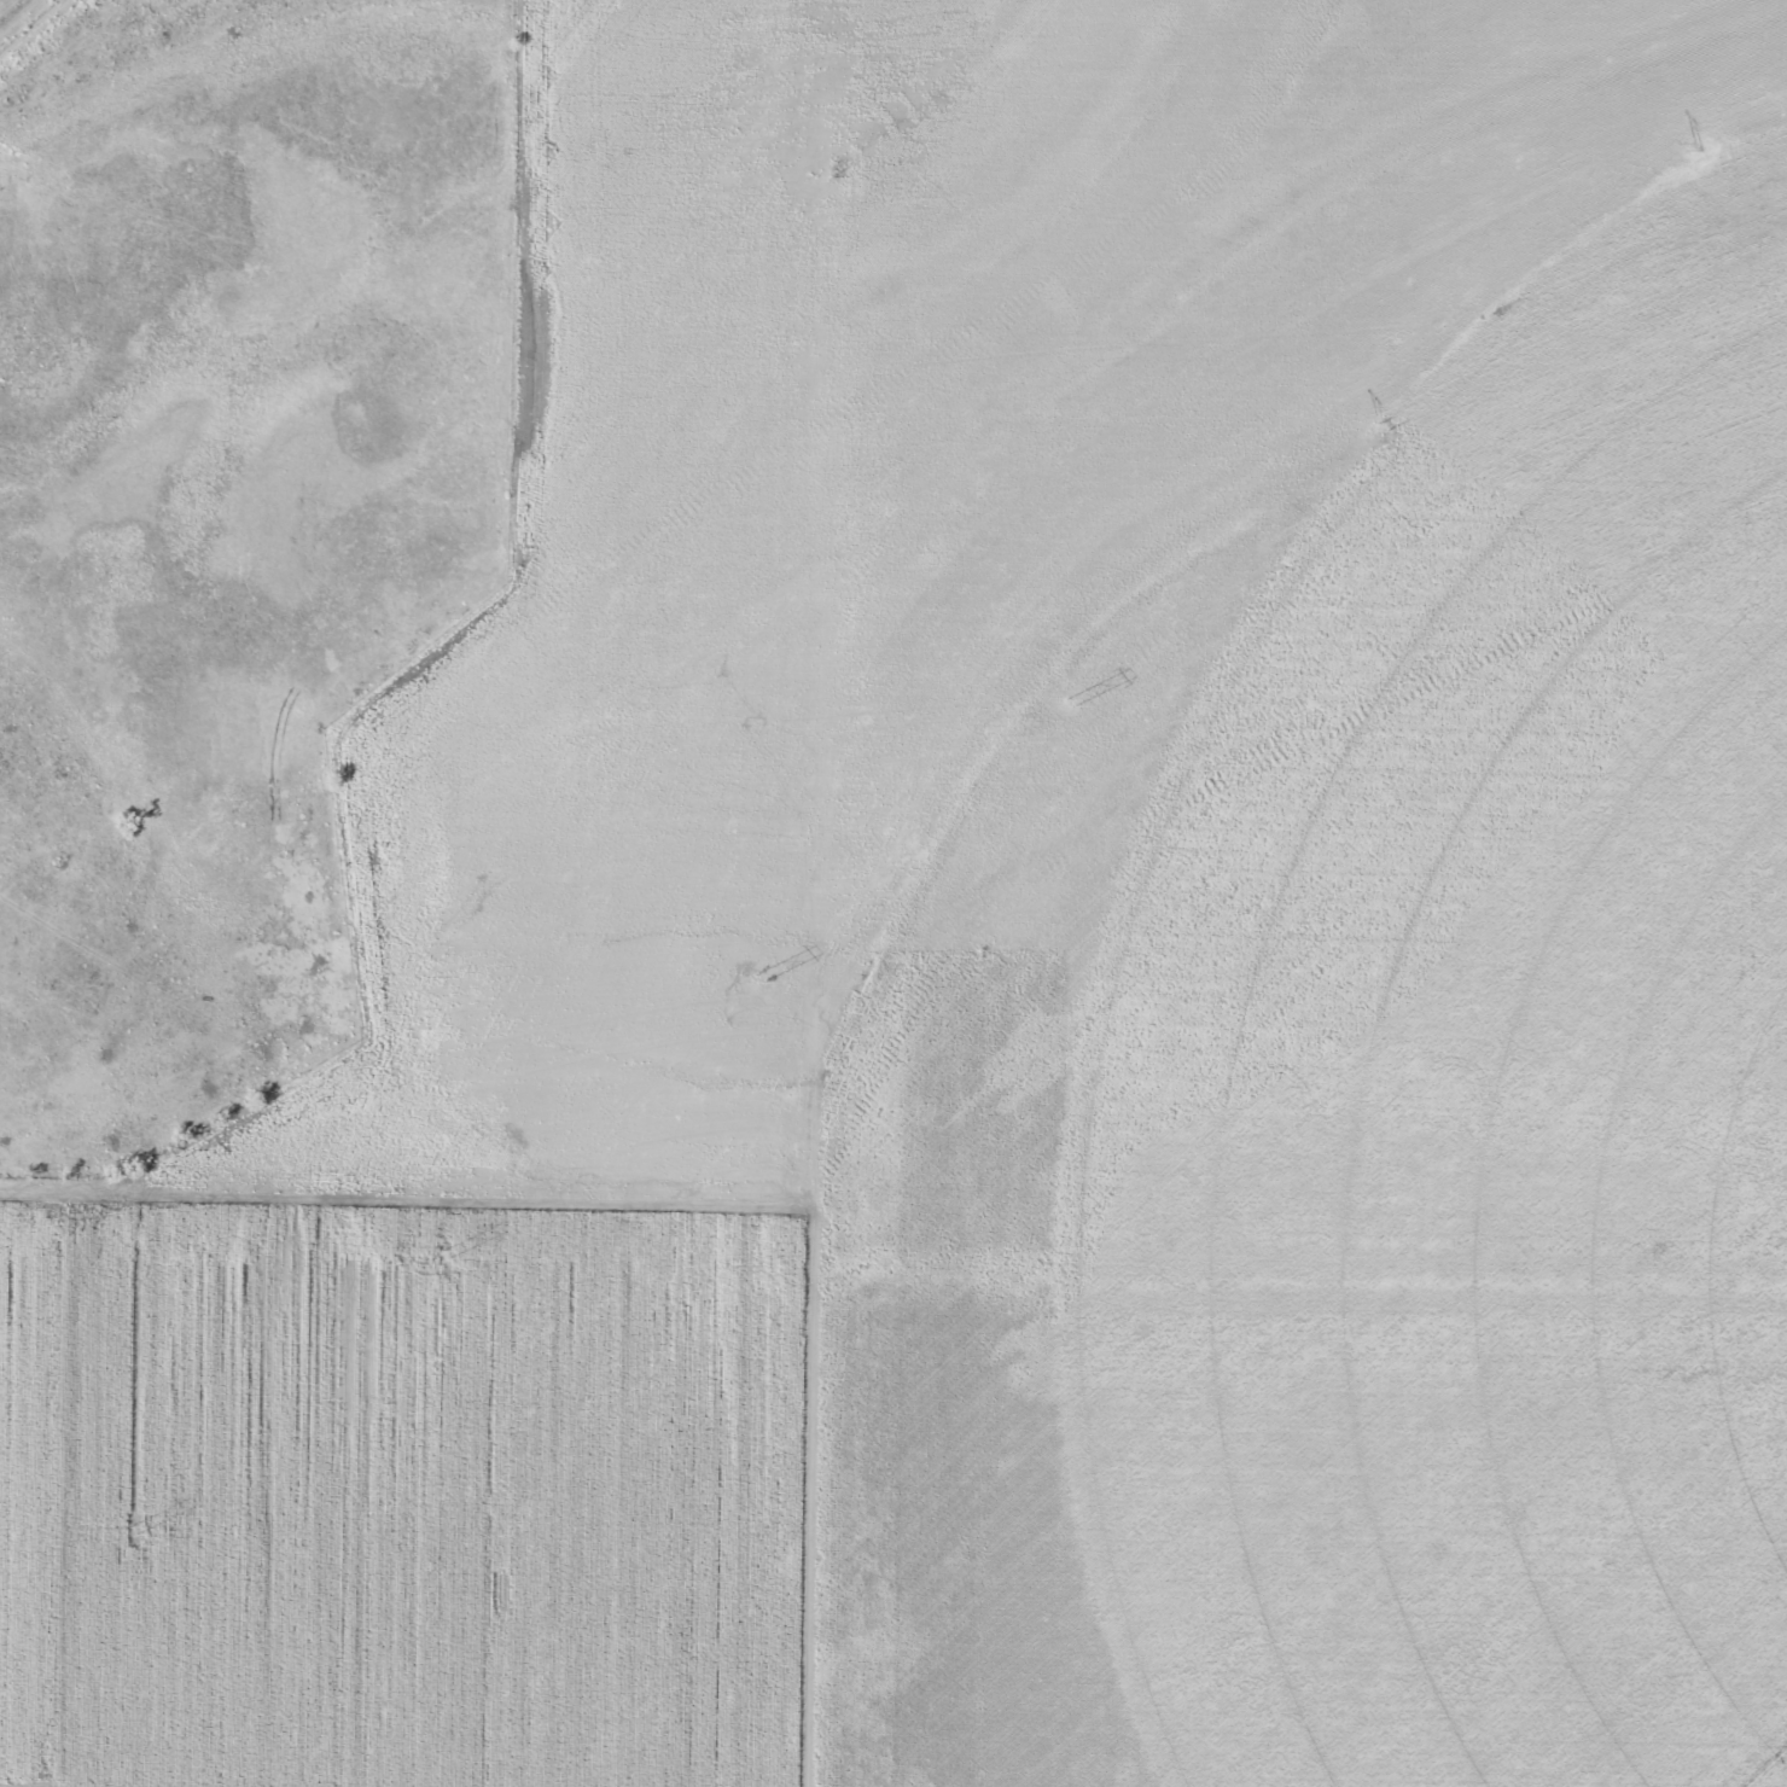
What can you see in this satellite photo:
power tower: (1699, 149)
power tower: (1386, 426)
power tower: (1067, 704)
power tower: (753, 980)
power tower: (446, 1256)
power tower: (132, 1532)

